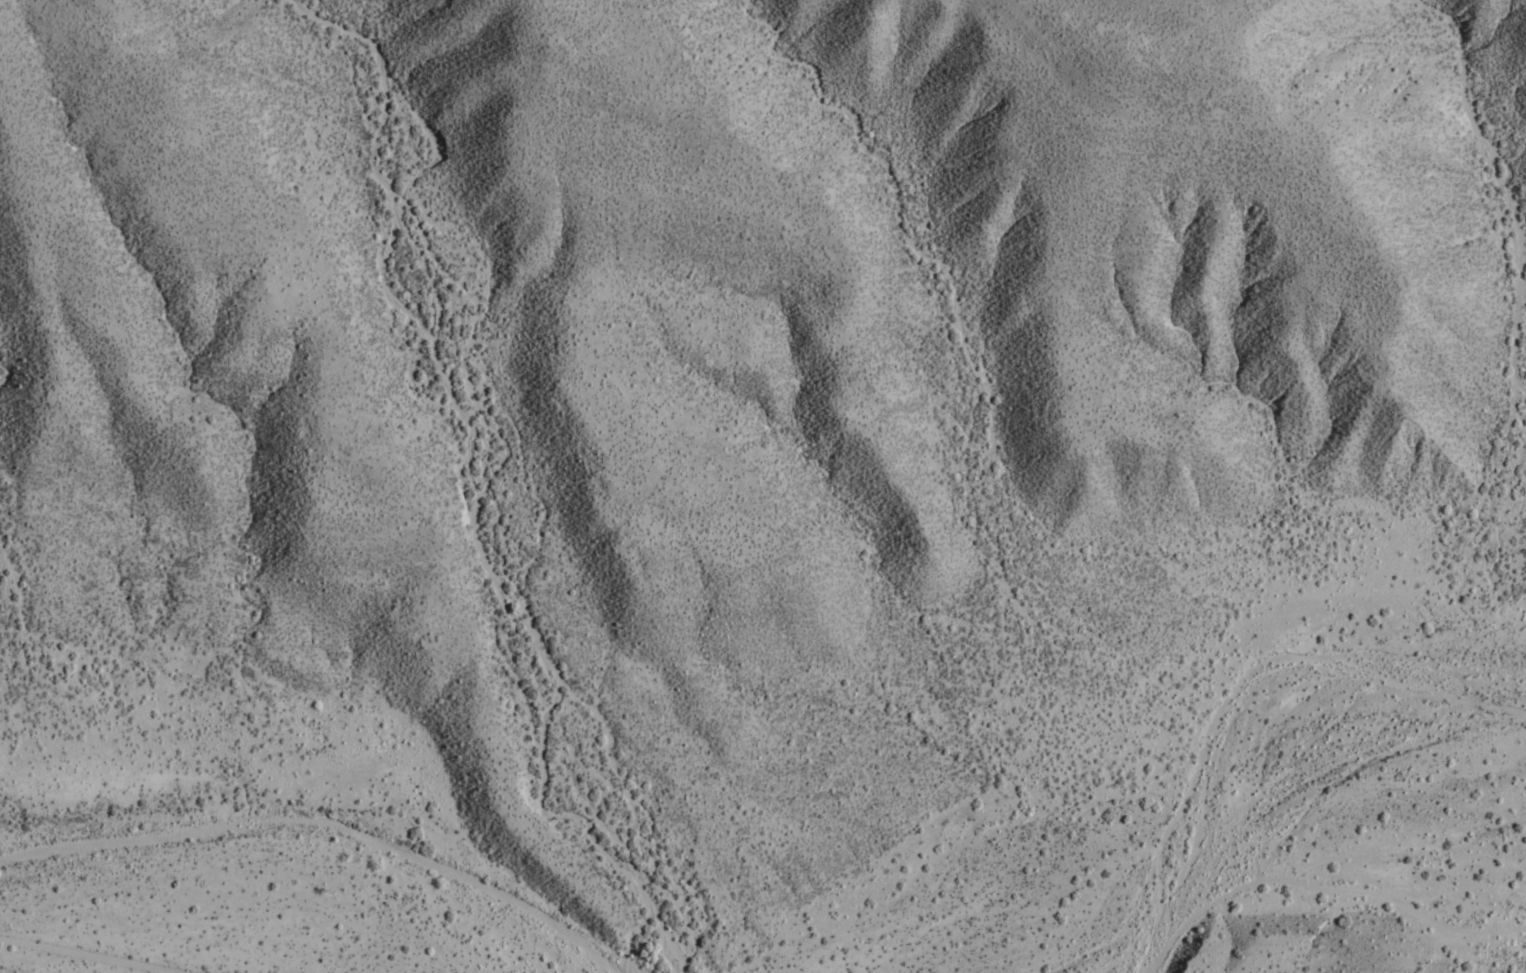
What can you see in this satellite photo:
road: (1276, 878)
road: (95, 956)

